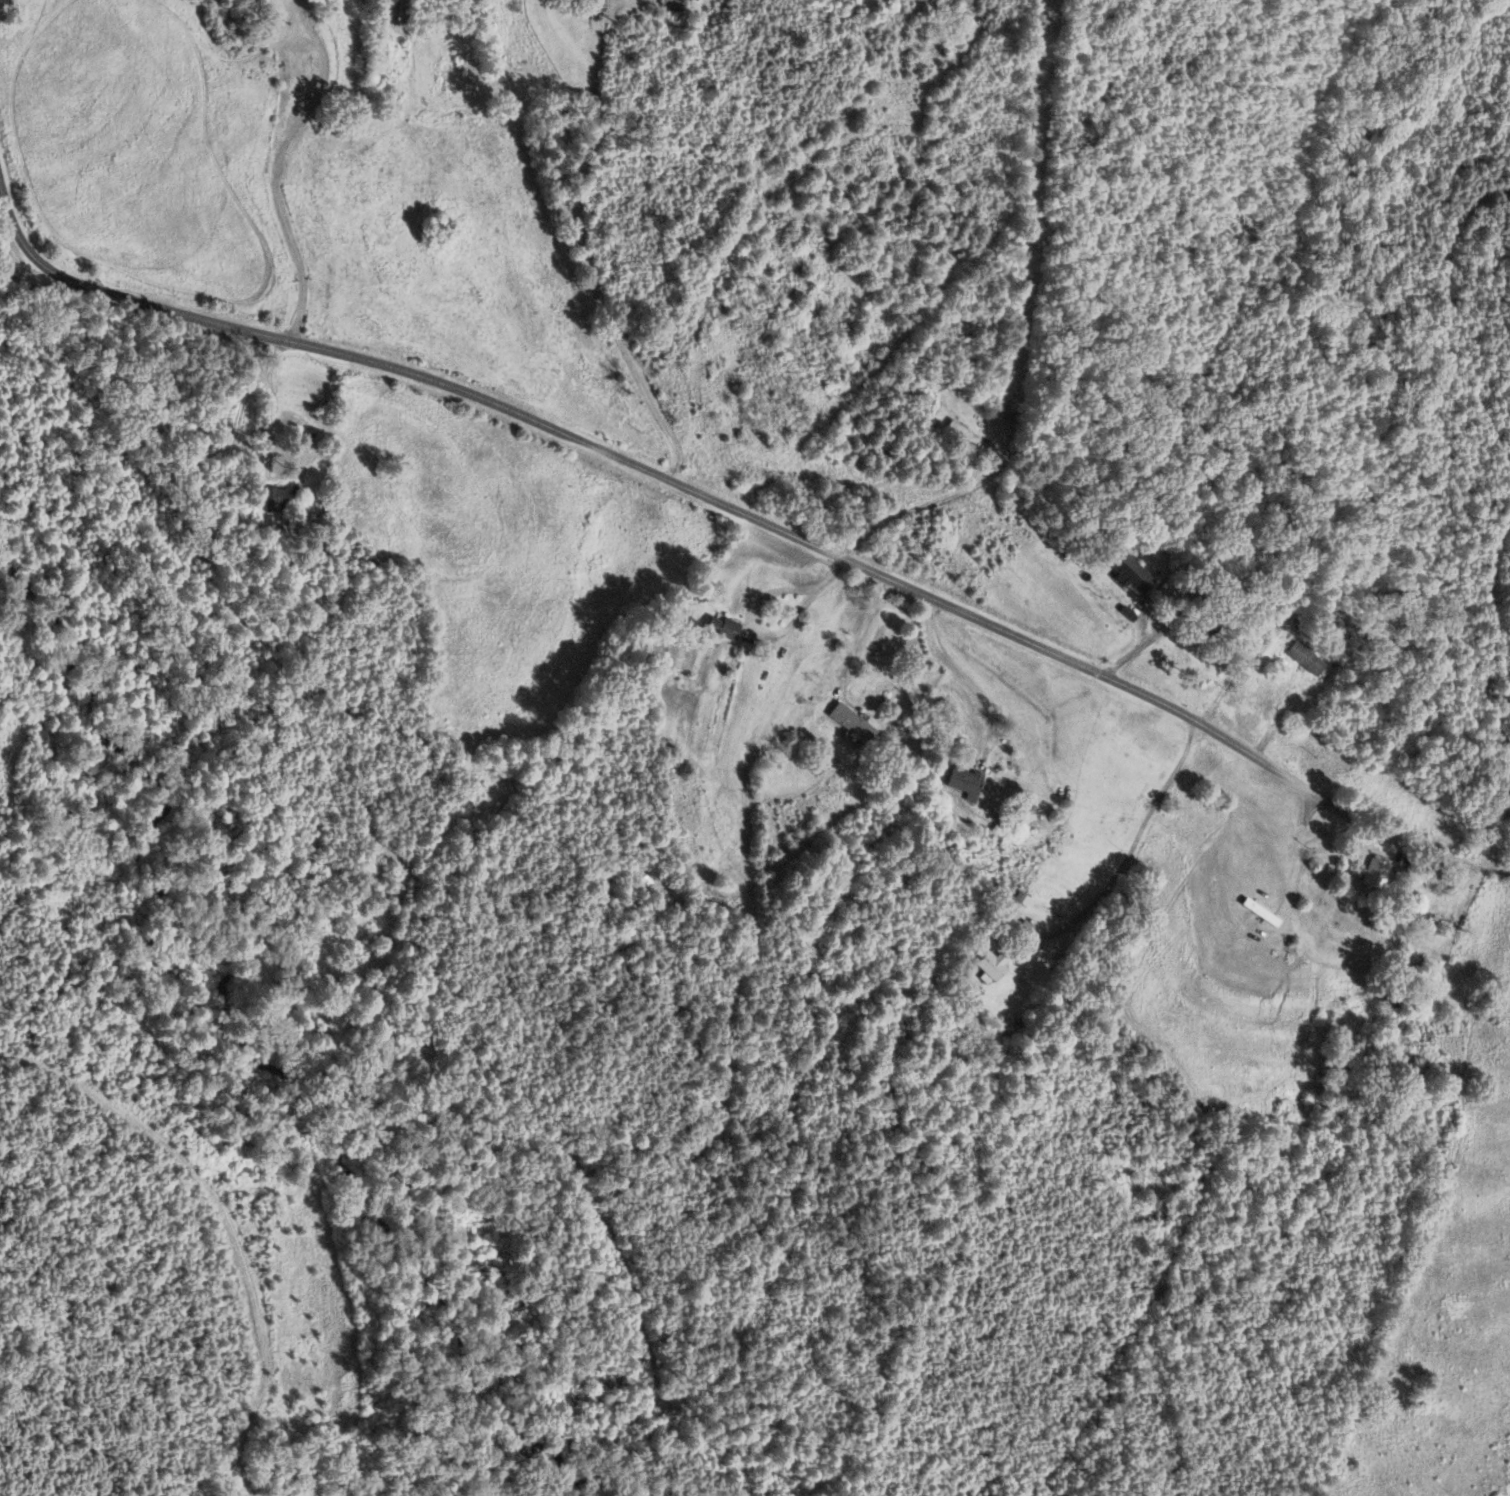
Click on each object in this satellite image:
building: (672, 3)
building: (405, 10)
road: (275, 165)
road: (589, 250)
road: (1015, 325)
building: (948, 375)
building: (1006, 416)
building: (953, 432)
building: (272, 498)
road: (749, 515)
building: (1130, 569)
building: (717, 626)
road: (861, 627)
road: (773, 635)
building: (1199, 635)
building: (1302, 657)
road: (959, 674)
building: (845, 721)
building: (958, 779)
road: (1131, 839)
building: (1372, 871)
building: (986, 964)
building: (1377, 994)

